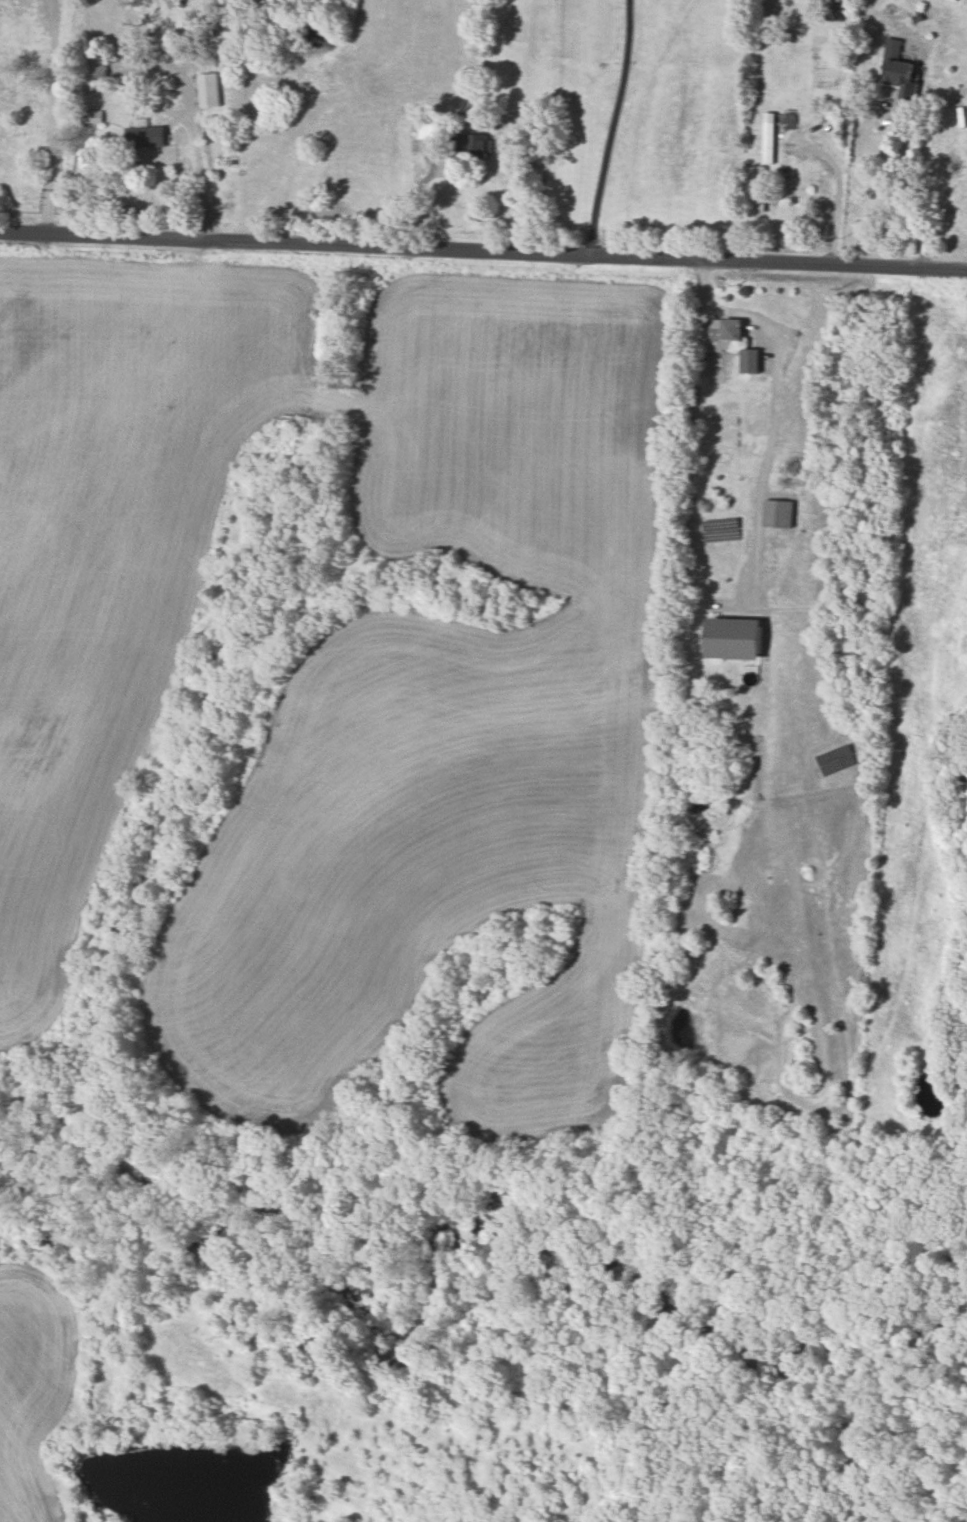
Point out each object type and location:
building: (98, 66)
building: (899, 70)
building: (210, 90)
crop: (21, 104)
road: (56, 112)
building: (95, 115)
crop: (349, 117)
road: (608, 124)
building: (431, 130)
building: (145, 136)
building: (769, 136)
building: (478, 144)
road: (197, 146)
road: (905, 185)
road: (837, 187)
road: (414, 194)
road: (483, 247)
building: (721, 333)
building: (750, 360)
road: (769, 403)
building: (778, 513)
crop: (110, 551)
building: (733, 638)
crop: (450, 738)
crop: (921, 740)
crop: (34, 1385)

